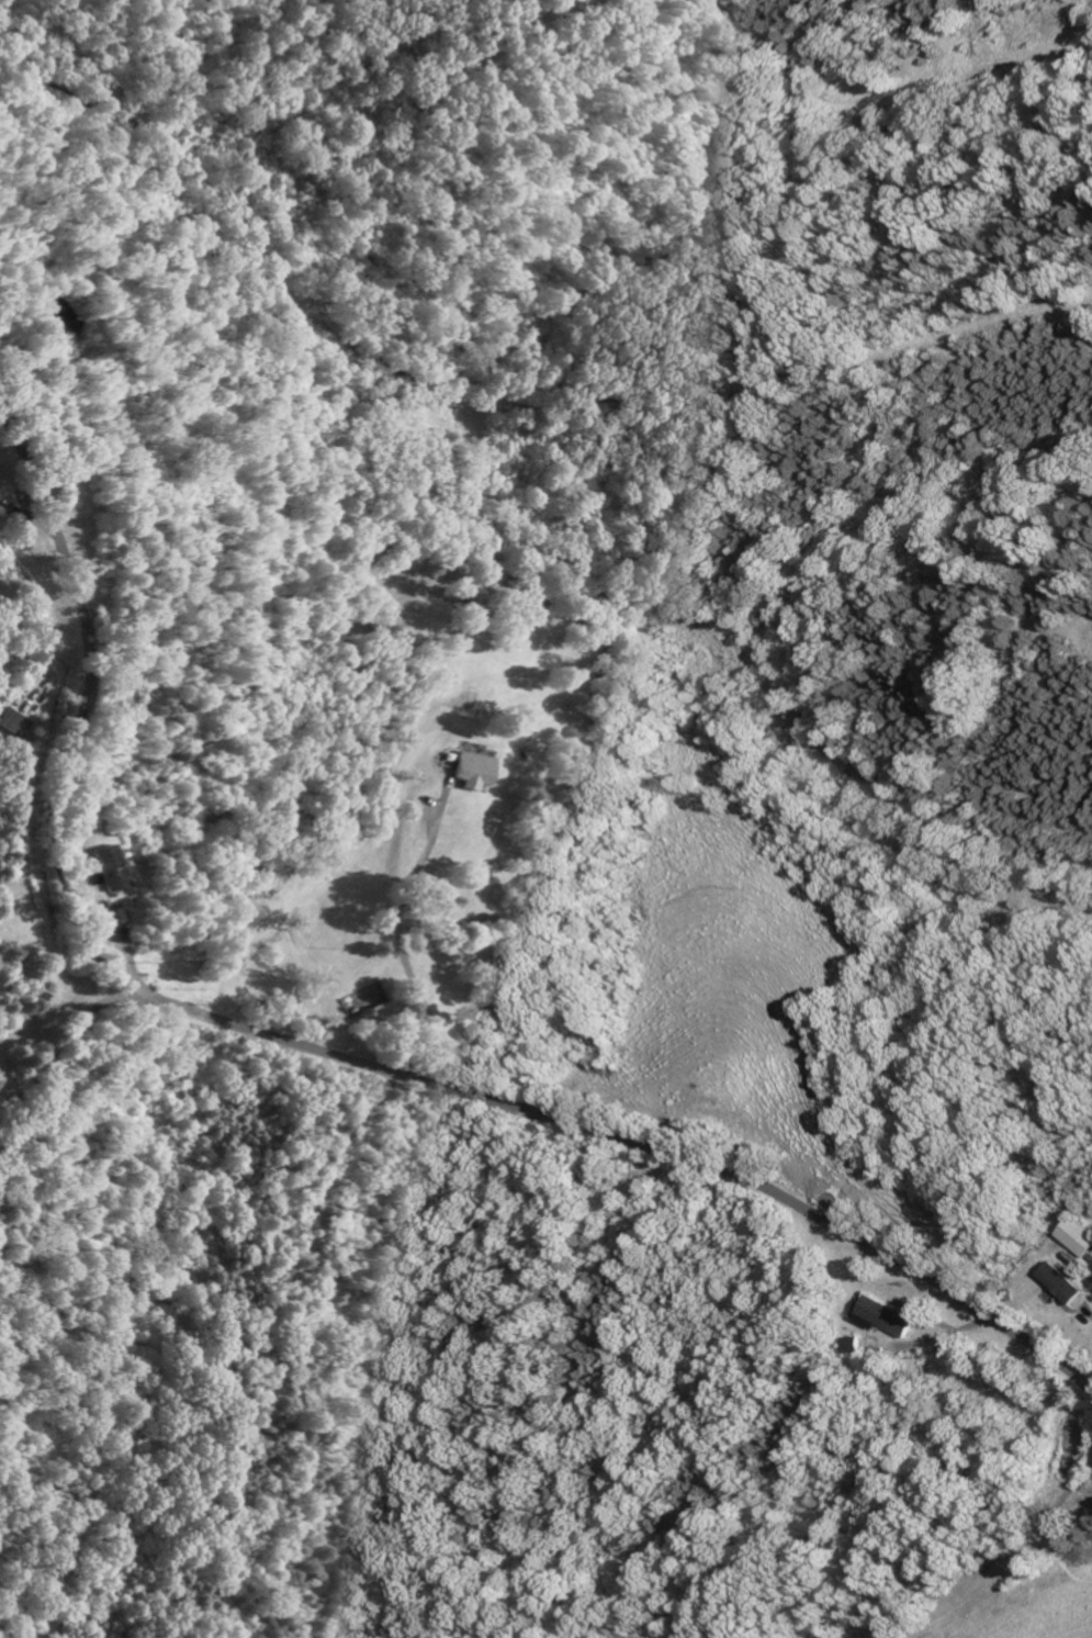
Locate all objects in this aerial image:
building: (13, 721)
building: (473, 768)
building: (109, 866)
road: (396, 946)
road: (63, 1044)
road: (336, 1056)
road: (80, 1075)
road: (100, 1125)
building: (1072, 1282)
building: (892, 1316)

